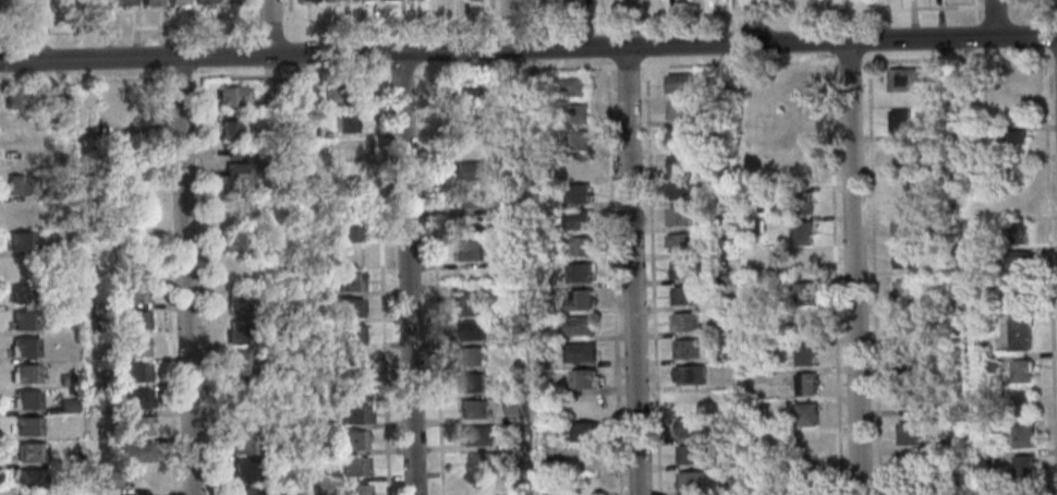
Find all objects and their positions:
building: (307, 0)
building: (329, 0)
building: (353, 0)
building: (472, 0)
building: (203, 1)
building: (232, 1)
building: (364, 1)
building: (387, 1)
building: (123, 2)
building: (150, 2)
road: (1013, 2)
building: (95, 3)
building: (179, 3)
road: (974, 3)
road: (1032, 4)
road: (994, 5)
road: (874, 8)
road: (493, 9)
road: (530, 11)
road: (645, 14)
road: (733, 15)
road: (512, 17)
road: (993, 19)
road: (50, 22)
road: (752, 22)
road: (11, 23)
road: (251, 23)
road: (511, 24)
road: (253, 27)
road: (270, 27)
road: (291, 27)
road: (29, 31)
road: (531, 41)
road: (734, 41)
road: (1044, 41)
road: (867, 45)
road: (827, 47)
road: (528, 49)
road: (645, 50)
road: (606, 51)
road: (1054, 55)
road: (51, 57)
road: (376, 57)
road: (734, 58)
road: (956, 58)
road: (12, 59)
road: (201, 61)
road: (749, 62)
road: (531, 63)
road: (627, 65)
road: (403, 71)
road: (52, 75)
road: (13, 76)
road: (181, 77)
building: (901, 79)
building: (1011, 79)
road: (84, 80)
building: (794, 81)
building: (533, 83)
building: (938, 83)
building: (678, 84)
building: (572, 86)
building: (301, 89)
building: (462, 92)
building: (59, 93)
building: (337, 94)
building: (233, 97)
building: (22, 98)
building: (679, 110)
building: (1013, 111)
building: (573, 113)
building: (462, 118)
building: (899, 120)
building: (344, 121)
building: (88, 126)
building: (20, 128)
building: (235, 130)
building: (306, 130)
building: (974, 132)
building: (57, 135)
building: (753, 135)
building: (680, 136)
building: (575, 141)
building: (799, 142)
building: (1013, 142)
building: (344, 148)
building: (238, 153)
building: (108, 155)
building: (899, 155)
building: (22, 156)
building: (680, 162)
building: (758, 164)
building: (575, 167)
building: (469, 170)
building: (719, 170)
building: (1013, 171)
building: (800, 172)
building: (344, 177)
building: (235, 179)
building: (22, 185)
building: (684, 189)
building: (903, 190)
building: (59, 191)
building: (750, 193)
building: (576, 194)
building: (465, 198)
building: (937, 200)
building: (1018, 201)
building: (801, 203)
building: (506, 204)
building: (234, 208)
building: (23, 214)
building: (681, 217)
building: (270, 218)
building: (575, 218)
building: (901, 222)
building: (752, 226)
building: (345, 232)
building: (1017, 232)
building: (801, 233)
building: (927, 234)
building: (234, 240)
building: (21, 241)
building: (680, 242)
building: (580, 245)
building: (469, 251)
building: (347, 255)
building: (902, 257)
building: (508, 258)
building: (801, 262)
building: (1017, 262)
building: (22, 268)
road: (852, 268)
road: (632, 269)
building: (682, 269)
road: (1049, 270)
road: (874, 271)
road: (408, 273)
road: (436, 273)
building: (580, 273)
road: (834, 274)
road: (652, 275)
road: (184, 276)
road: (613, 276)
road: (384, 278)
road: (207, 280)
building: (349, 282)
road: (168, 286)
building: (752, 287)
building: (309, 289)
building: (902, 291)
building: (1018, 292)
building: (133, 293)
building: (803, 293)
building: (23, 294)
building: (684, 294)
building: (241, 300)
building: (579, 300)
building: (473, 305)
building: (350, 307)
building: (25, 321)
building: (135, 321)
building: (685, 322)
building: (804, 324)
building: (904, 325)
building: (576, 326)
building: (722, 327)
building: (475, 329)
building: (236, 333)
building: (1019, 334)
building: (350, 335)
building: (278, 341)
building: (132, 347)
building: (25, 348)
building: (687, 349)
building: (579, 352)
building: (725, 354)
building: (804, 354)
building: (472, 357)
building: (904, 359)
building: (350, 361)
building: (988, 363)
building: (239, 364)
building: (312, 369)
building: (280, 370)
building: (1021, 371)
building: (134, 373)
building: (25, 374)
building: (690, 374)
building: (582, 378)
building: (66, 379)
building: (472, 383)
building: (805, 384)
building: (351, 387)
building: (96, 393)
building: (242, 393)
building: (907, 396)
building: (313, 398)
building: (26, 400)
building: (136, 400)
building: (1021, 405)
building: (66, 406)
building: (514, 406)
building: (473, 409)
building: (354, 414)
building: (806, 414)
building: (319, 424)
building: (27, 426)
building: (137, 426)
building: (991, 426)
building: (691, 428)
building: (580, 431)
building: (908, 433)
building: (476, 435)
building: (1022, 436)
building: (353, 439)
building: (806, 443)
building: (244, 445)
building: (947, 445)
building: (31, 452)
building: (133, 452)
building: (694, 454)
building: (494, 461)
building: (981, 461)
building: (354, 467)
building: (1023, 467)
building: (909, 470)
building: (244, 471)
building: (809, 472)
building: (31, 479)
building: (111, 480)
building: (691, 481)
building: (730, 485)
building: (354, 490)
building: (1024, 490)
building: (244, 492)
building: (810, 494)

